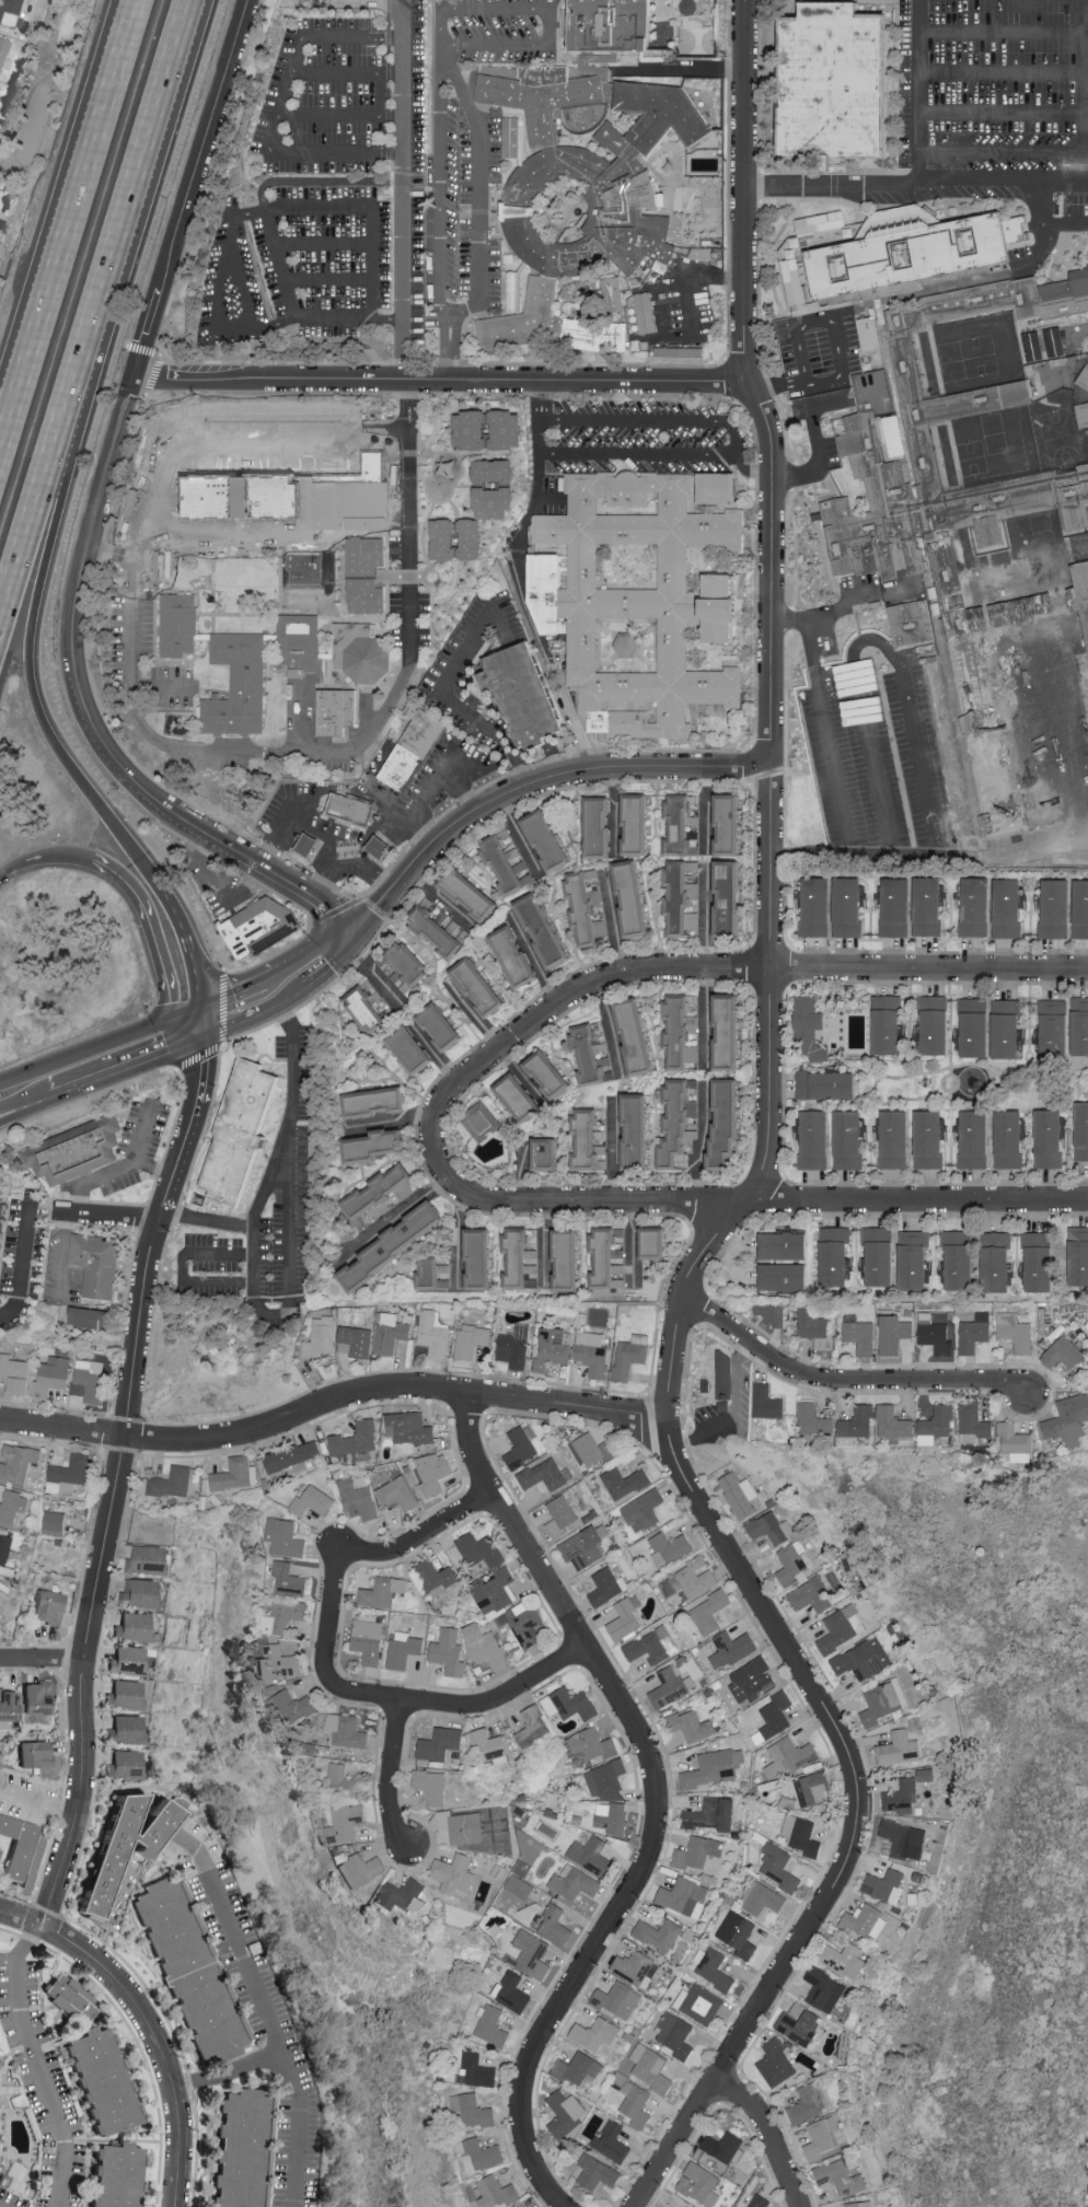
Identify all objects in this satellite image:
building: (10, 13)
building: (612, 24)
road: (1003, 32)
road: (118, 39)
road: (121, 39)
road: (544, 42)
road: (443, 48)
building: (4, 54)
road: (1003, 70)
road: (170, 72)
building: (831, 83)
road: (471, 88)
road: (922, 90)
road: (1085, 91)
road: (285, 92)
parking lot: (324, 98)
road: (53, 112)
road: (381, 114)
road: (1003, 115)
road: (202, 143)
road: (1003, 150)
road: (1086, 158)
road: (917, 179)
road: (320, 181)
building: (582, 181)
road: (440, 186)
road: (403, 188)
road: (481, 188)
road: (745, 190)
road: (372, 209)
road: (250, 212)
building: (822, 222)
road: (1043, 223)
road: (323, 243)
road: (55, 249)
building: (917, 249)
road: (1038, 256)
parking lot: (298, 266)
road: (239, 271)
road: (328, 278)
road: (732, 278)
building: (796, 280)
road: (218, 300)
road: (290, 300)
building: (645, 312)
road: (387, 318)
road: (274, 324)
road: (795, 324)
road: (147, 330)
road: (649, 330)
building: (870, 333)
building: (1056, 341)
building: (1034, 346)
road: (451, 348)
road: (440, 377)
road: (73, 388)
building: (1084, 396)
building: (508, 429)
building: (473, 430)
road: (738, 439)
road: (819, 441)
building: (496, 471)
building: (243, 480)
building: (717, 488)
building: (186, 489)
building: (302, 492)
building: (496, 502)
building: (921, 522)
road: (62, 527)
building: (992, 531)
building: (473, 538)
building: (445, 539)
road: (109, 551)
building: (367, 554)
road: (772, 570)
road: (522, 582)
building: (368, 595)
building: (636, 599)
road: (848, 602)
road: (72, 608)
building: (911, 622)
building: (180, 624)
road: (872, 638)
building: (302, 646)
building: (363, 652)
road: (164, 686)
building: (240, 686)
road: (441, 687)
building: (521, 700)
building: (338, 711)
road: (825, 719)
road: (171, 746)
building: (412, 755)
road: (448, 757)
road: (562, 778)
road: (379, 798)
road: (465, 798)
road: (298, 801)
road: (769, 809)
building: (351, 813)
building: (680, 824)
building: (638, 825)
building: (732, 825)
building: (600, 827)
road: (418, 830)
building: (551, 840)
road: (386, 843)
road: (326, 844)
building: (304, 850)
building: (377, 852)
road: (928, 853)
road: (43, 857)
road: (243, 857)
building: (506, 866)
road: (208, 869)
road: (324, 875)
road: (379, 879)
building: (472, 894)
building: (682, 898)
building: (731, 898)
building: (634, 899)
building: (928, 906)
building: (1007, 907)
building: (817, 908)
building: (896, 908)
building: (974, 908)
building: (1054, 908)
building: (1079, 908)
road: (374, 910)
building: (586, 910)
building: (849, 910)
road: (334, 914)
building: (259, 927)
road: (151, 931)
building: (545, 931)
traffic signals: (357, 932)
road: (187, 945)
road: (316, 952)
building: (518, 957)
road: (338, 961)
road: (717, 972)
building: (482, 988)
road: (232, 995)
building: (368, 1007)
road: (254, 1012)
traffic signals: (188, 1018)
road: (703, 1019)
building: (889, 1023)
building: (937, 1023)
building: (443, 1025)
building: (976, 1025)
building: (1081, 1025)
road: (612, 1027)
building: (811, 1027)
building: (1008, 1027)
building: (1057, 1027)
road: (192, 1029)
building: (681, 1030)
building: (731, 1030)
building: (636, 1034)
traffic signals: (195, 1039)
building: (414, 1049)
road: (93, 1050)
road: (121, 1066)
building: (551, 1073)
building: (829, 1084)
building: (521, 1095)
building: (378, 1100)
road: (24, 1101)
road: (24, 1107)
building: (481, 1119)
building: (679, 1119)
building: (730, 1119)
building: (1081, 1129)
building: (637, 1130)
building: (245, 1131)
building: (818, 1138)
building: (850, 1138)
building: (898, 1138)
building: (930, 1138)
building: (1010, 1138)
building: (1049, 1138)
building: (976, 1139)
building: (589, 1140)
building: (377, 1143)
road: (701, 1143)
building: (549, 1152)
road: (613, 1152)
building: (78, 1153)
road: (274, 1159)
road: (125, 1165)
building: (378, 1188)
road: (750, 1201)
road: (398, 1212)
road: (106, 1213)
building: (4, 1219)
building: (658, 1241)
building: (396, 1242)
building: (787, 1244)
road: (24, 1254)
building: (882, 1254)
building: (1078, 1255)
building: (836, 1256)
building: (481, 1257)
building: (568, 1257)
building: (611, 1257)
building: (962, 1257)
building: (915, 1258)
building: (520, 1259)
building: (1041, 1259)
building: (998, 1261)
building: (99, 1262)
road: (183, 1266)
road: (292, 1269)
building: (787, 1276)
building: (772, 1313)
building: (89, 1316)
building: (814, 1328)
building: (1017, 1331)
building: (391, 1332)
building: (859, 1333)
building: (893, 1333)
building: (935, 1334)
building: (433, 1335)
building: (321, 1337)
building: (472, 1339)
building: (355, 1340)
building: (516, 1347)
building: (554, 1348)
building: (592, 1352)
building: (1063, 1352)
building: (630, 1355)
building: (55, 1371)
building: (16, 1373)
building: (725, 1374)
building: (89, 1379)
road: (843, 1383)
building: (767, 1402)
road: (332, 1404)
building: (1068, 1418)
building: (814, 1419)
building: (859, 1421)
building: (894, 1421)
building: (938, 1424)
building: (974, 1424)
building: (410, 1430)
building: (357, 1438)
building: (1017, 1441)
building: (522, 1445)
building: (594, 1450)
building: (293, 1455)
building: (18, 1463)
building: (435, 1472)
building: (69, 1474)
building: (233, 1474)
building: (546, 1475)
road: (114, 1482)
building: (172, 1482)
building: (625, 1482)
building: (398, 1492)
building: (740, 1494)
building: (358, 1499)
building: (312, 1500)
building: (14, 1506)
building: (644, 1510)
building: (560, 1515)
building: (54, 1522)
building: (771, 1528)
building: (0, 1529)
building: (286, 1537)
building: (586, 1546)
building: (670, 1547)
building: (8, 1549)
building: (482, 1549)
road: (729, 1555)
road: (367, 1556)
building: (148, 1558)
building: (791, 1561)
building: (693, 1578)
building: (290, 1579)
building: (438, 1579)
building: (607, 1587)
building: (383, 1591)
building: (142, 1593)
building: (811, 1595)
building: (51, 1606)
building: (508, 1606)
building: (710, 1612)
building: (285, 1616)
building: (625, 1619)
building: (135, 1626)
building: (842, 1628)
building: (368, 1637)
building: (484, 1645)
building: (652, 1645)
building: (404, 1648)
building: (732, 1648)
building: (449, 1651)
building: (129, 1658)
building: (864, 1659)
building: (282, 1660)
road: (42, 1663)
building: (752, 1679)
building: (671, 1686)
building: (127, 1694)
building: (894, 1695)
building: (39, 1697)
building: (571, 1704)
building: (9, 1706)
road: (455, 1706)
building: (294, 1707)
building: (875, 1707)
building: (774, 1717)
building: (694, 1724)
building: (535, 1727)
building: (128, 1729)
building: (347, 1729)
building: (441, 1743)
building: (594, 1743)
building: (489, 1747)
building: (901, 1749)
building: (36, 1753)
building: (789, 1756)
building: (127, 1764)
building: (711, 1768)
road: (393, 1773)
building: (927, 1774)
building: (342, 1779)
building: (607, 1779)
building: (433, 1785)
building: (812, 1788)
building: (902, 1797)
road: (657, 1799)
road: (38, 1802)
building: (714, 1814)
building: (613, 1817)
building: (346, 1822)
building: (461, 1826)
building: (802, 1835)
building: (905, 1838)
building: (21, 1844)
building: (132, 1845)
building: (0, 1852)
building: (591, 1854)
building: (779, 1867)
building: (361, 1869)
building: (455, 1874)
building: (576, 1882)
building: (886, 1885)
building: (516, 1891)
building: (402, 1895)
building: (684, 1896)
building: (762, 1898)
building: (866, 1921)
building: (659, 1933)
building: (739, 1933)
building: (531, 1950)
building: (845, 1959)
building: (637, 1967)
building: (714, 1967)
building: (194, 1971)
building: (825, 1989)
road: (256, 1990)
building: (513, 1991)
building: (72, 1994)
building: (620, 2000)
building: (699, 2002)
road: (148, 2023)
building: (801, 2023)
building: (493, 2026)
building: (597, 2033)
building: (675, 2035)
building: (777, 2063)
road: (35, 2064)
building: (579, 2068)
building: (652, 2068)
building: (479, 2070)
building: (107, 2081)
building: (636, 2104)
building: (806, 2105)
building: (474, 2110)
building: (567, 2114)
road: (297, 2126)
road: (767, 2135)
building: (822, 2137)
building: (613, 2141)
building: (724, 2145)
building: (246, 2149)
building: (482, 2153)
building: (598, 2172)
building: (121, 2175)
building: (840, 2175)
building: (701, 2183)
building: (497, 2192)
building: (760, 2200)
building: (529, 2203)
building: (859, 2204)
road: (1, 2206)
building: (688, 2206)

